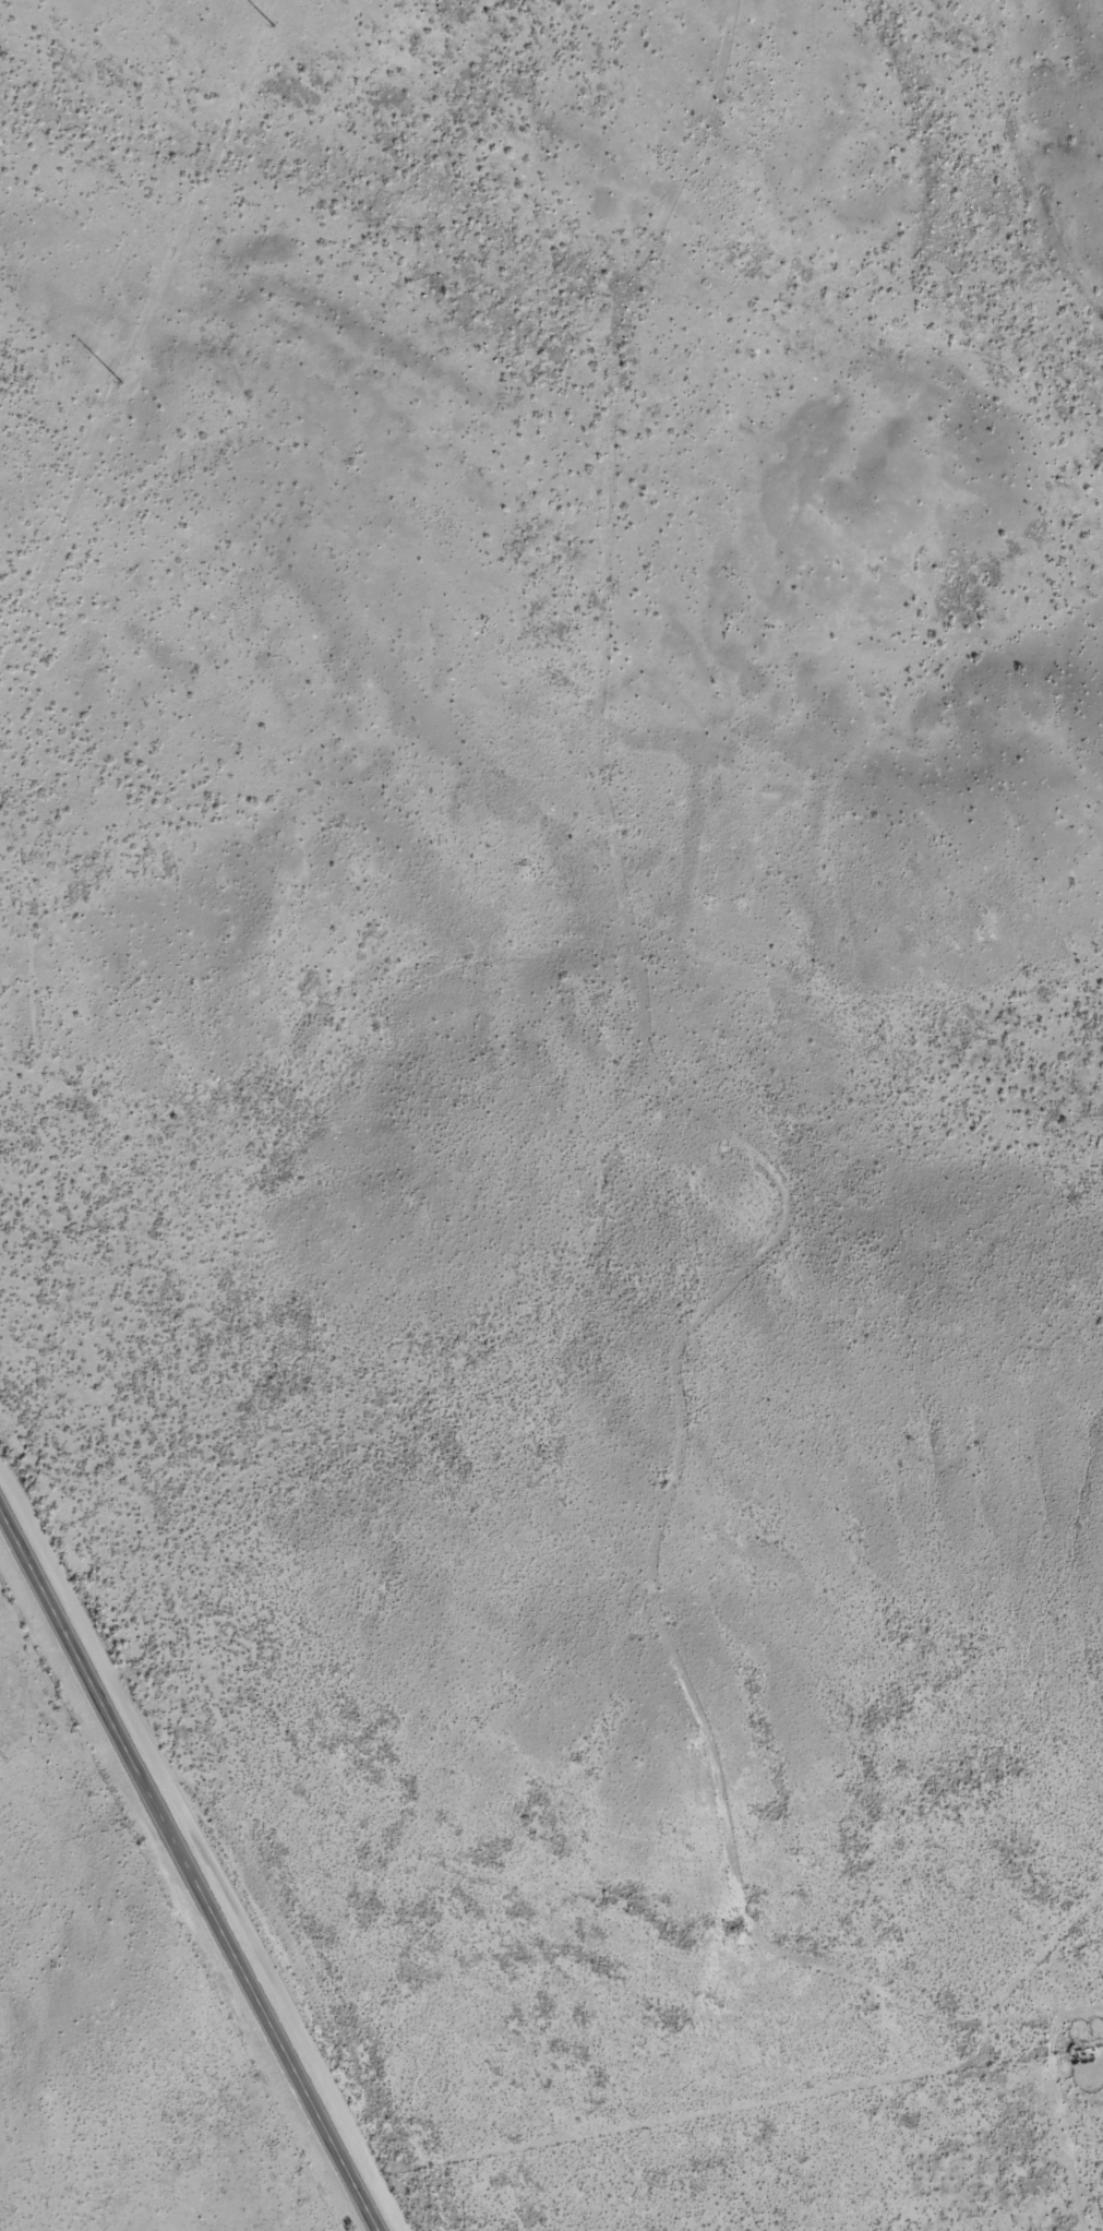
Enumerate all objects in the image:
power tower: (273, 26)
road: (1043, 151)
power tower: (121, 382)
road: (754, 1131)
road: (190, 1868)

